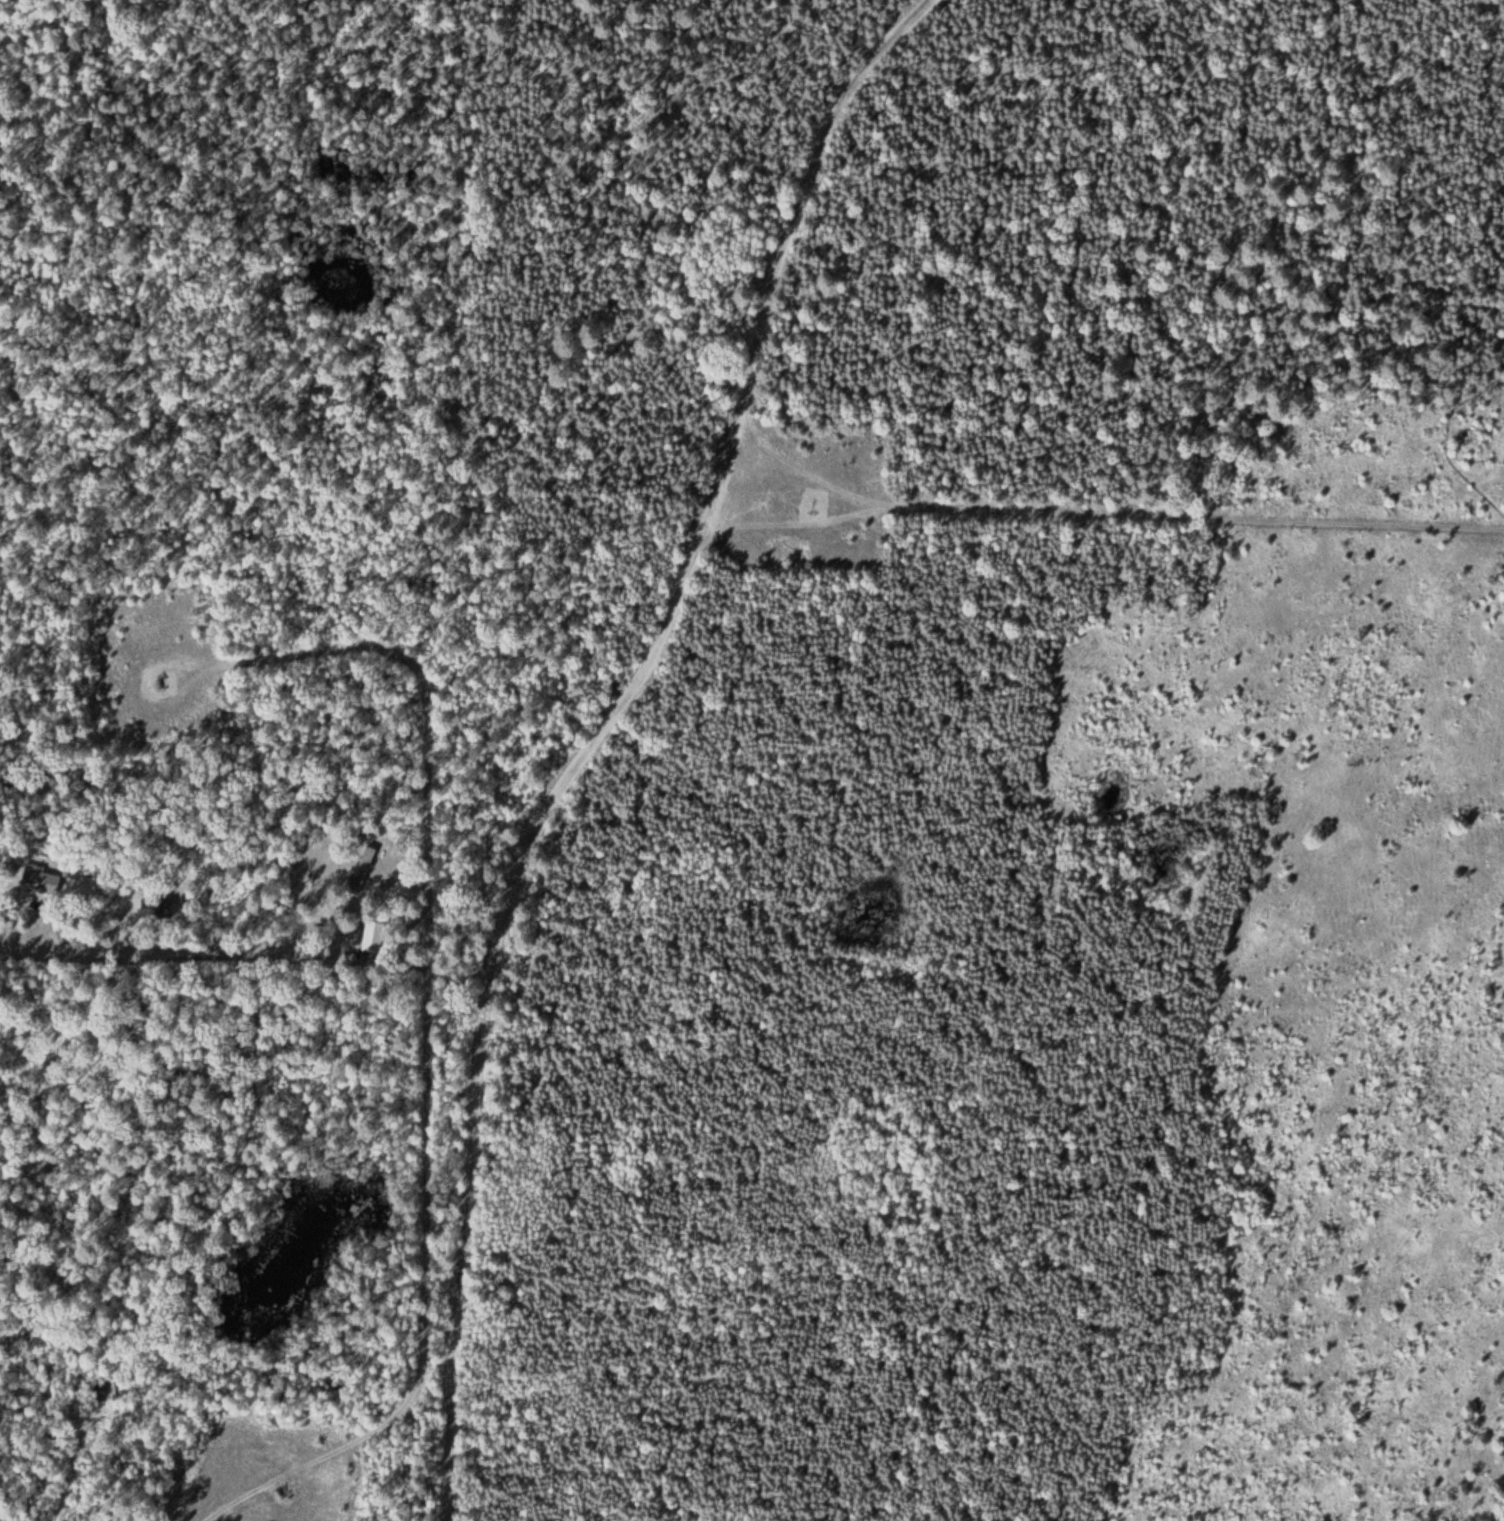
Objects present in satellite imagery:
road: (1443, 425)
road: (1095, 518)
petroleum well: (149, 672)
road: (588, 731)
building: (362, 871)
building: (40, 880)
building: (155, 909)
building: (370, 942)
road: (422, 1032)
petroleum well: (282, 1496)

